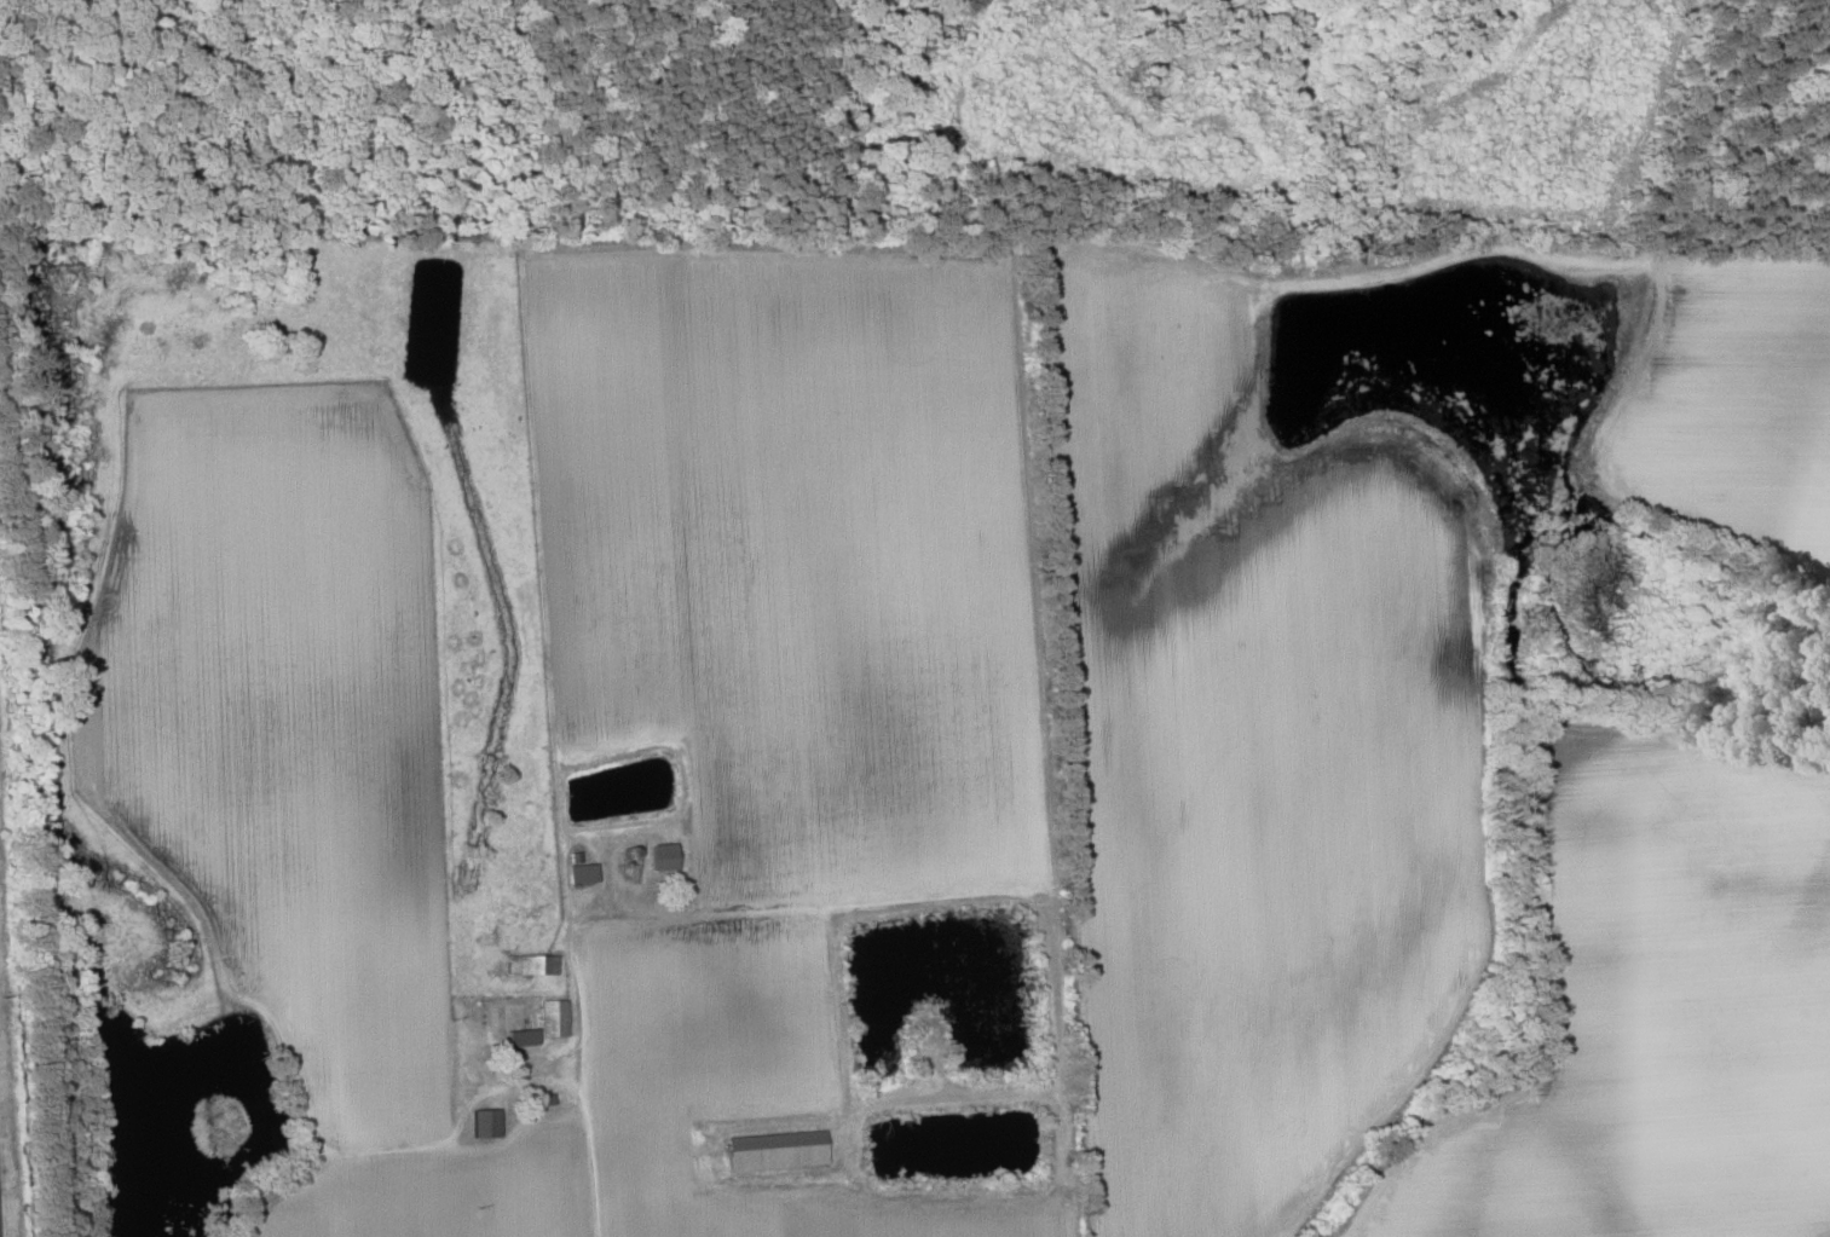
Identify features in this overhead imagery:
building: (662, 856)
building: (581, 872)
building: (520, 1036)
road: (585, 1073)
building: (484, 1122)
building: (777, 1150)

